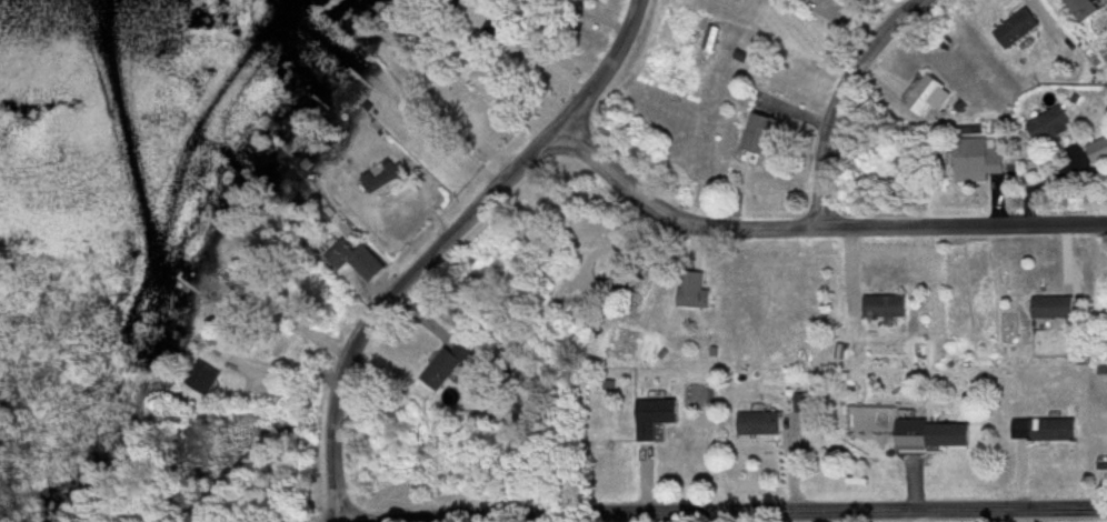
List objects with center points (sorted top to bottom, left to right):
building: (836, 0)
building: (1086, 10)
building: (493, 19)
building: (1023, 32)
building: (927, 96)
road: (842, 102)
road: (446, 108)
building: (1053, 126)
building: (759, 139)
building: (1100, 152)
building: (981, 160)
road: (819, 229)
road: (451, 243)
building: (647, 282)
building: (696, 298)
building: (887, 305)
building: (1053, 307)
building: (249, 335)
building: (450, 364)
building: (205, 377)
building: (657, 415)
building: (760, 423)
building: (1044, 429)
road: (721, 513)

